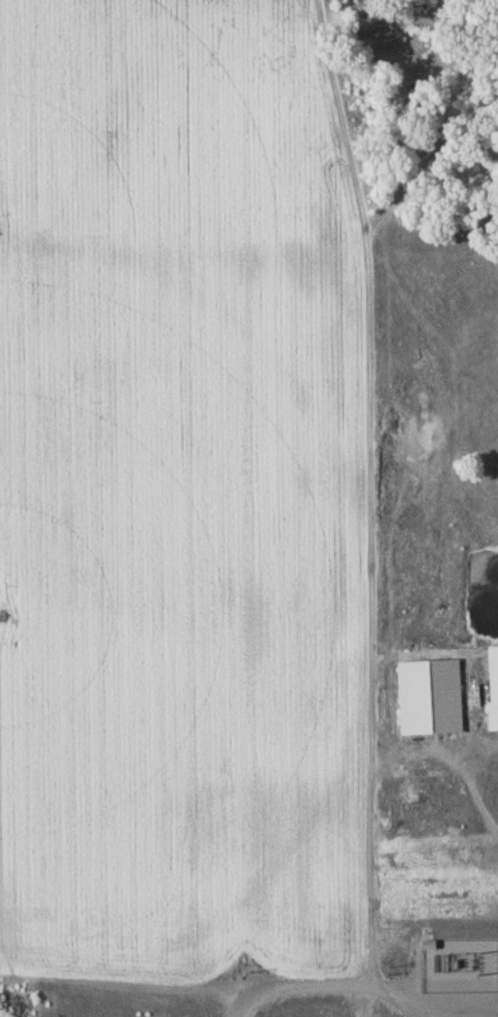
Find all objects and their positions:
building: (494, 692)
building: (432, 702)
building: (454, 830)
building: (428, 946)
power substation: (459, 967)
road: (325, 989)
road: (459, 994)
road: (404, 997)

